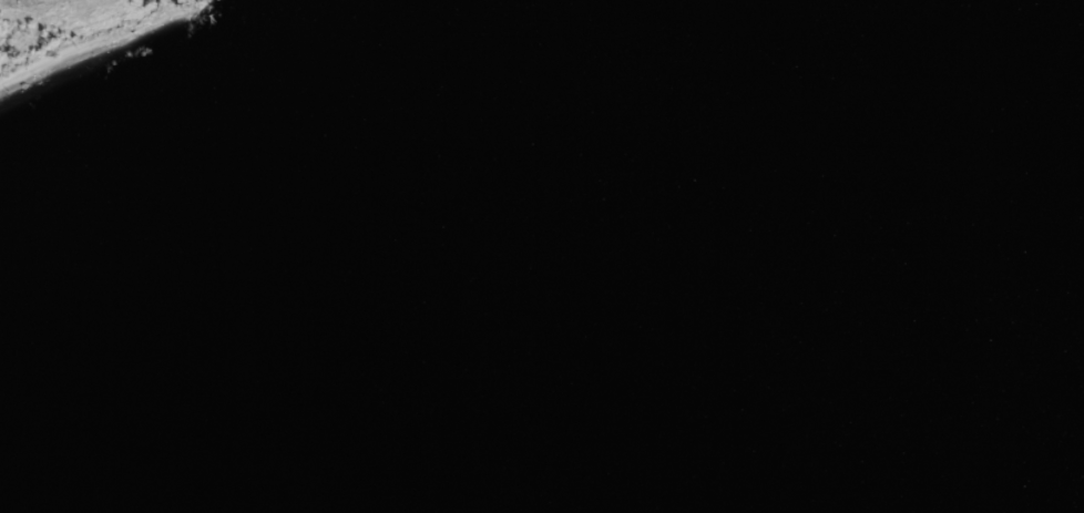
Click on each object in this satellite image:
park: (196, 127)

